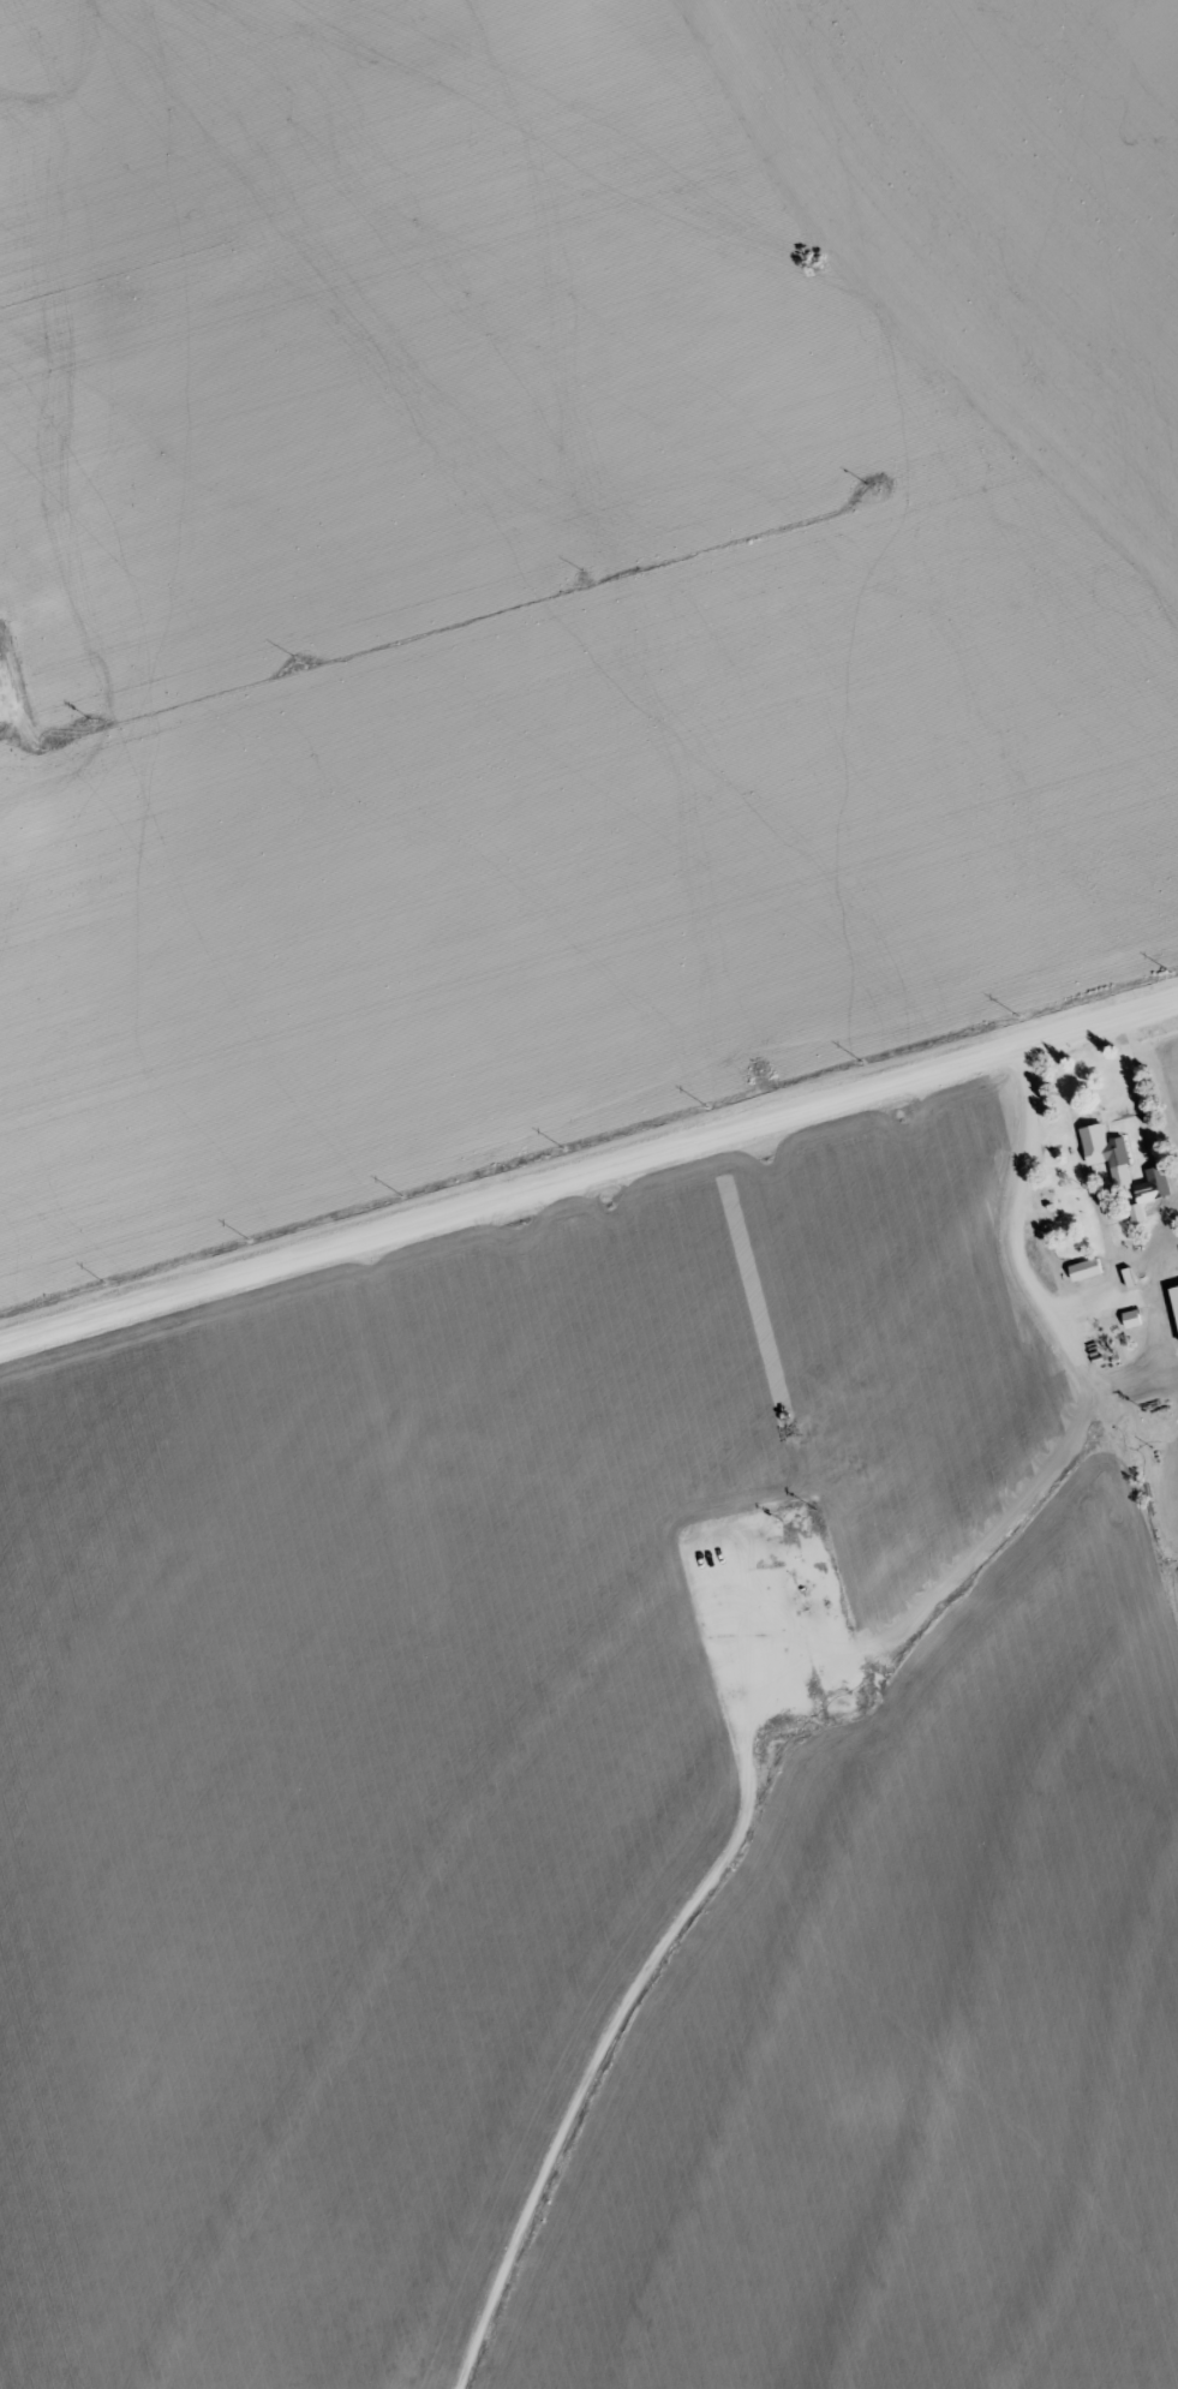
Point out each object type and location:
building: (1117, 1152)
building: (1159, 1179)
road: (590, 1195)
building: (1087, 1267)

